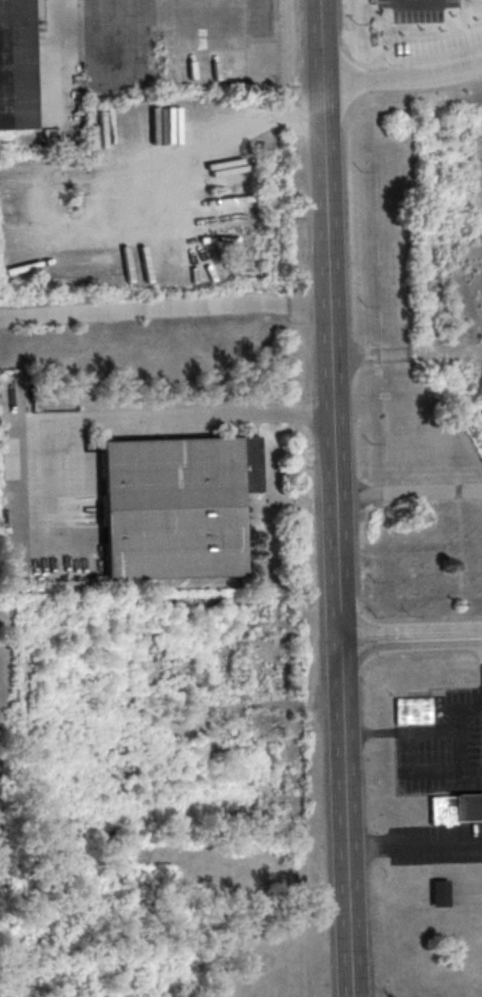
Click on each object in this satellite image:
parking lot: (415, 3)
road: (419, 4)
road: (56, 63)
building: (15, 66)
road: (402, 76)
road: (64, 182)
road: (326, 247)
road: (163, 312)
road: (207, 412)
road: (33, 461)
road: (407, 492)
parking lot: (48, 500)
building: (176, 508)
road: (336, 568)
road: (410, 639)
building: (412, 714)
road: (416, 732)
road: (455, 770)
building: (455, 810)
road: (343, 819)
road: (413, 846)
building: (439, 892)

